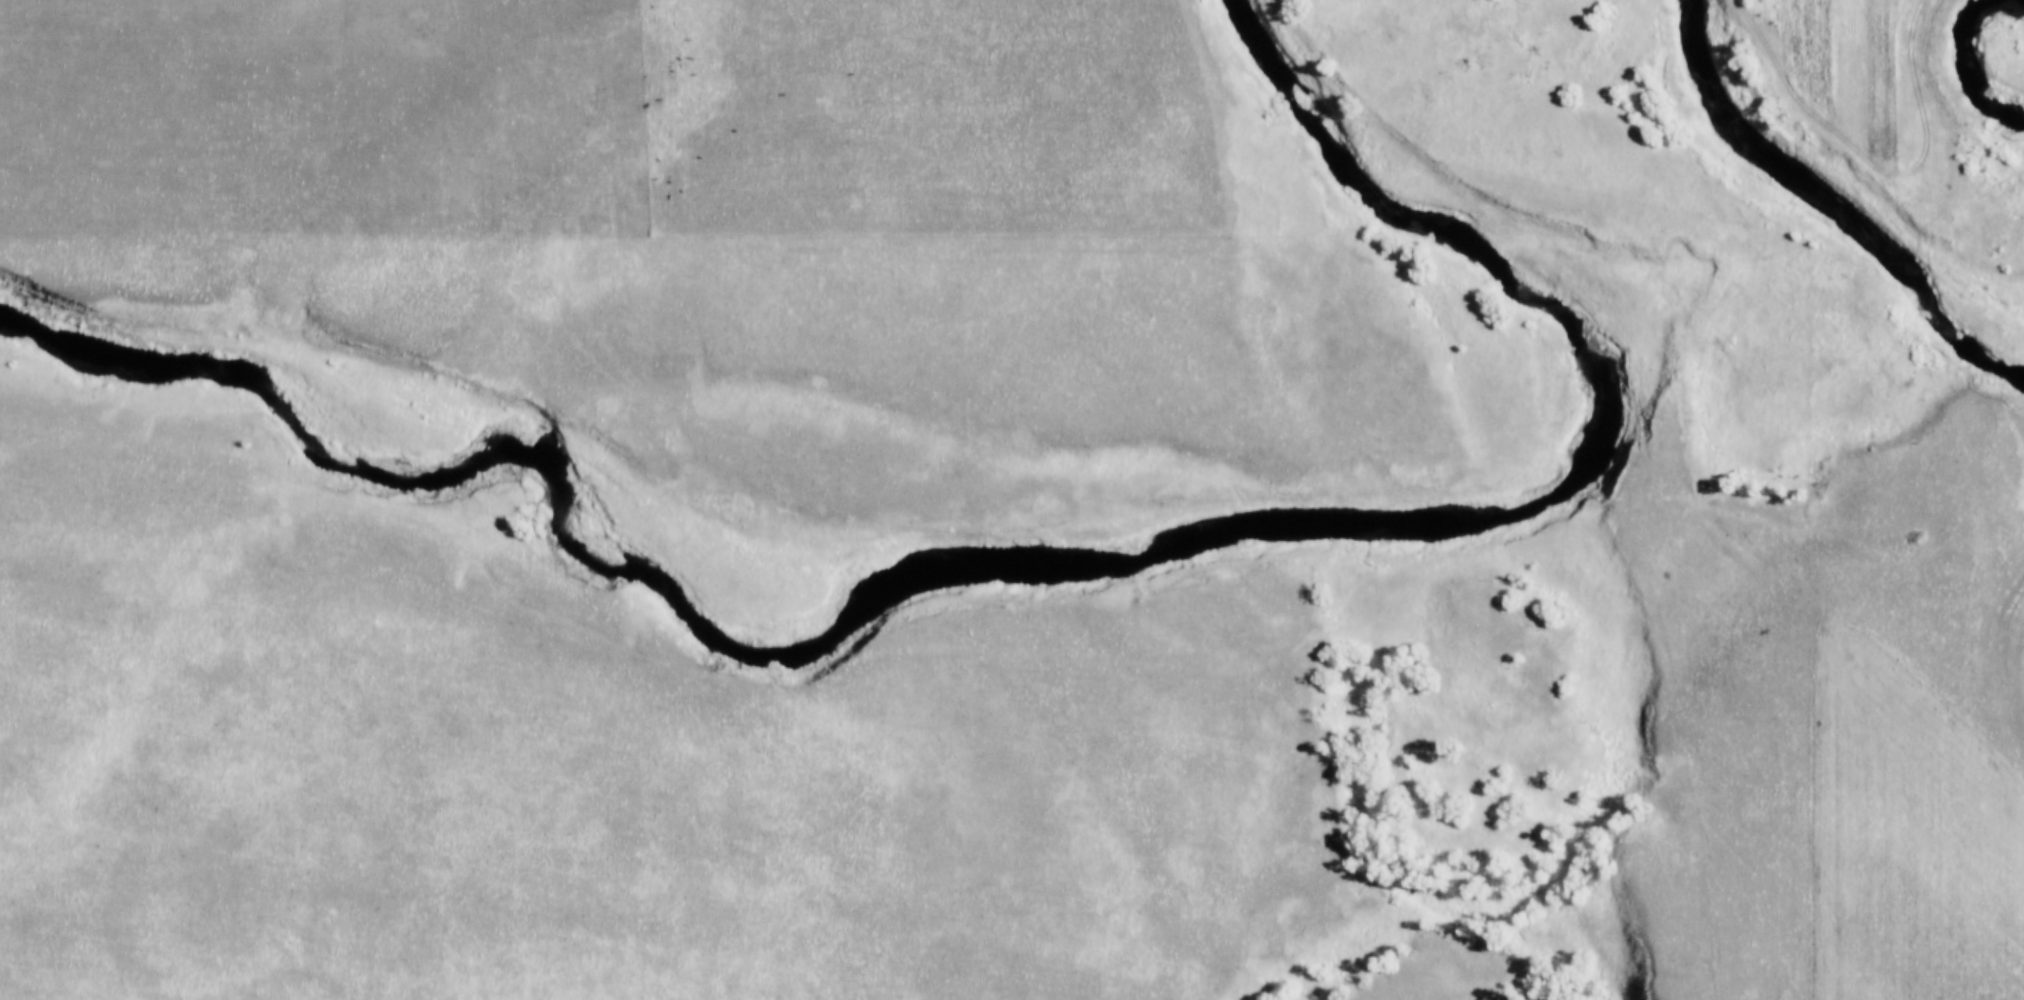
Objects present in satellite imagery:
road: (1994, 667)

